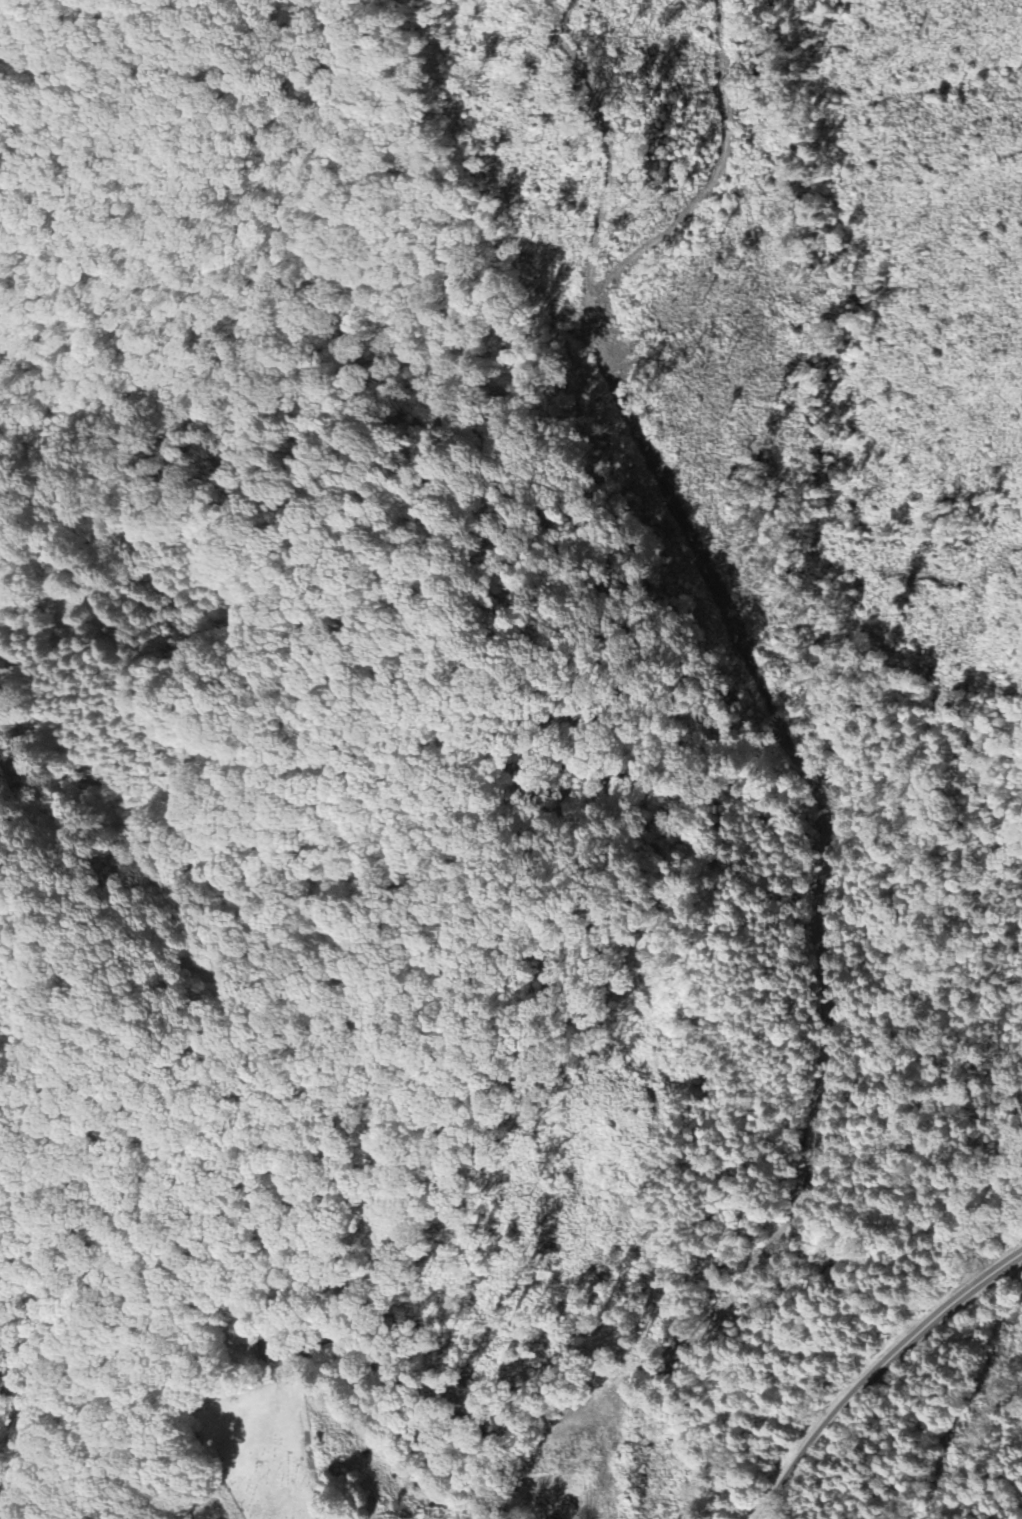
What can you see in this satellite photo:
road: (277, 1306)
road: (874, 1370)
road: (130, 1409)
road: (416, 1443)
park: (271, 1479)

